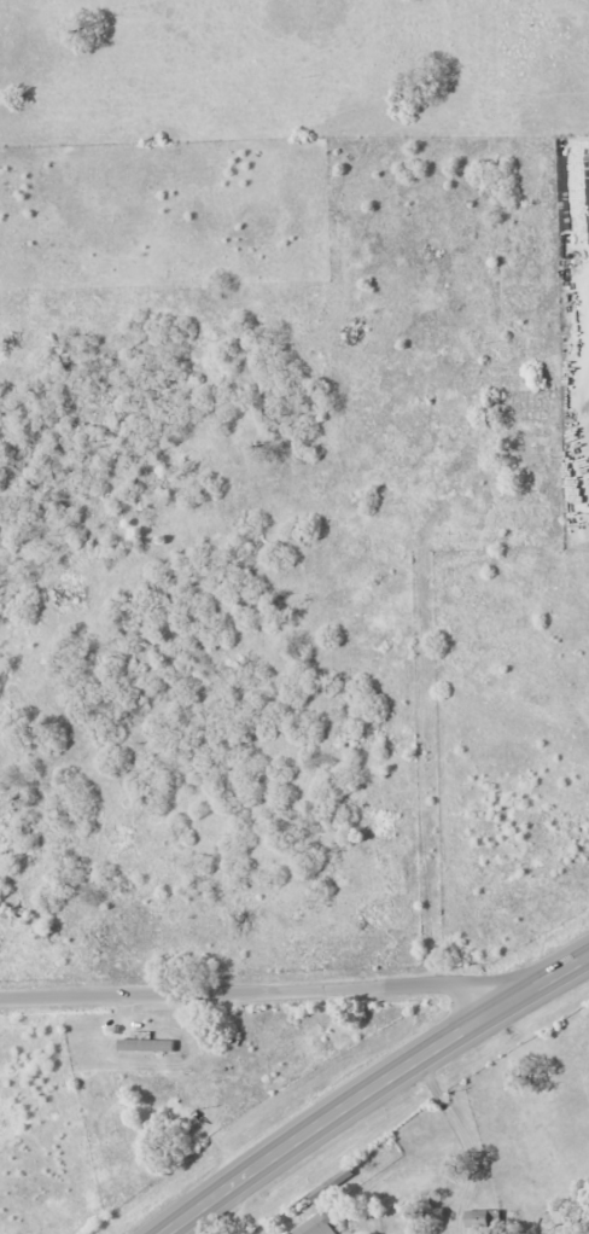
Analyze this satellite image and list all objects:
road: (587, 339)
road: (588, 398)
road: (430, 741)
road: (584, 967)
road: (290, 984)
road: (374, 1015)
building: (147, 1046)
road: (540, 1066)
road: (367, 1087)
road: (170, 1159)
building: (320, 1222)

